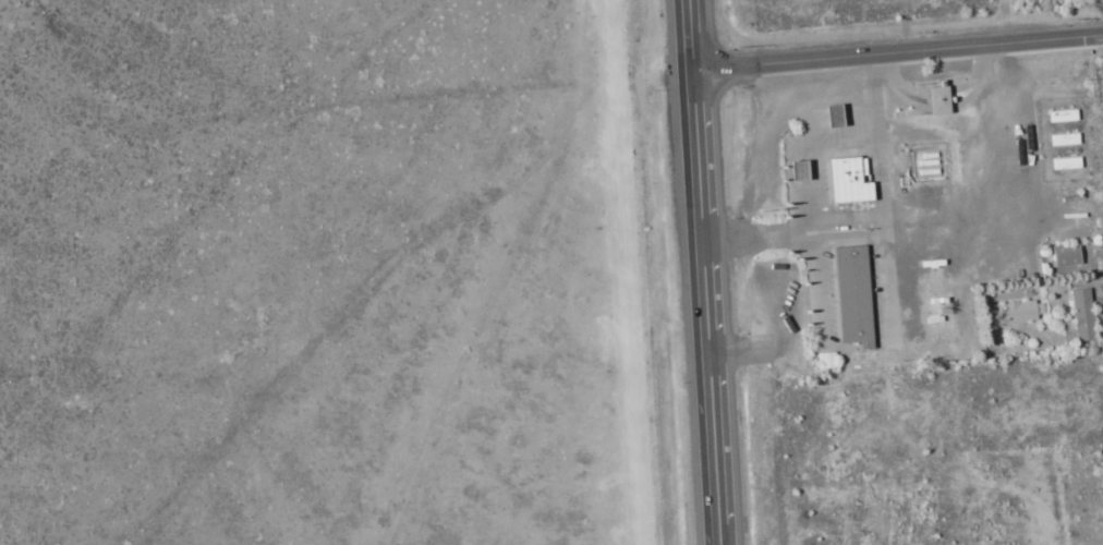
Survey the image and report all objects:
road: (1102, 1)
road: (1059, 37)
road: (856, 55)
building: (935, 99)
building: (1065, 163)
building: (845, 180)
building: (1064, 255)
road: (706, 271)
building: (850, 295)
building: (1018, 311)
building: (1080, 314)
building: (824, 360)

